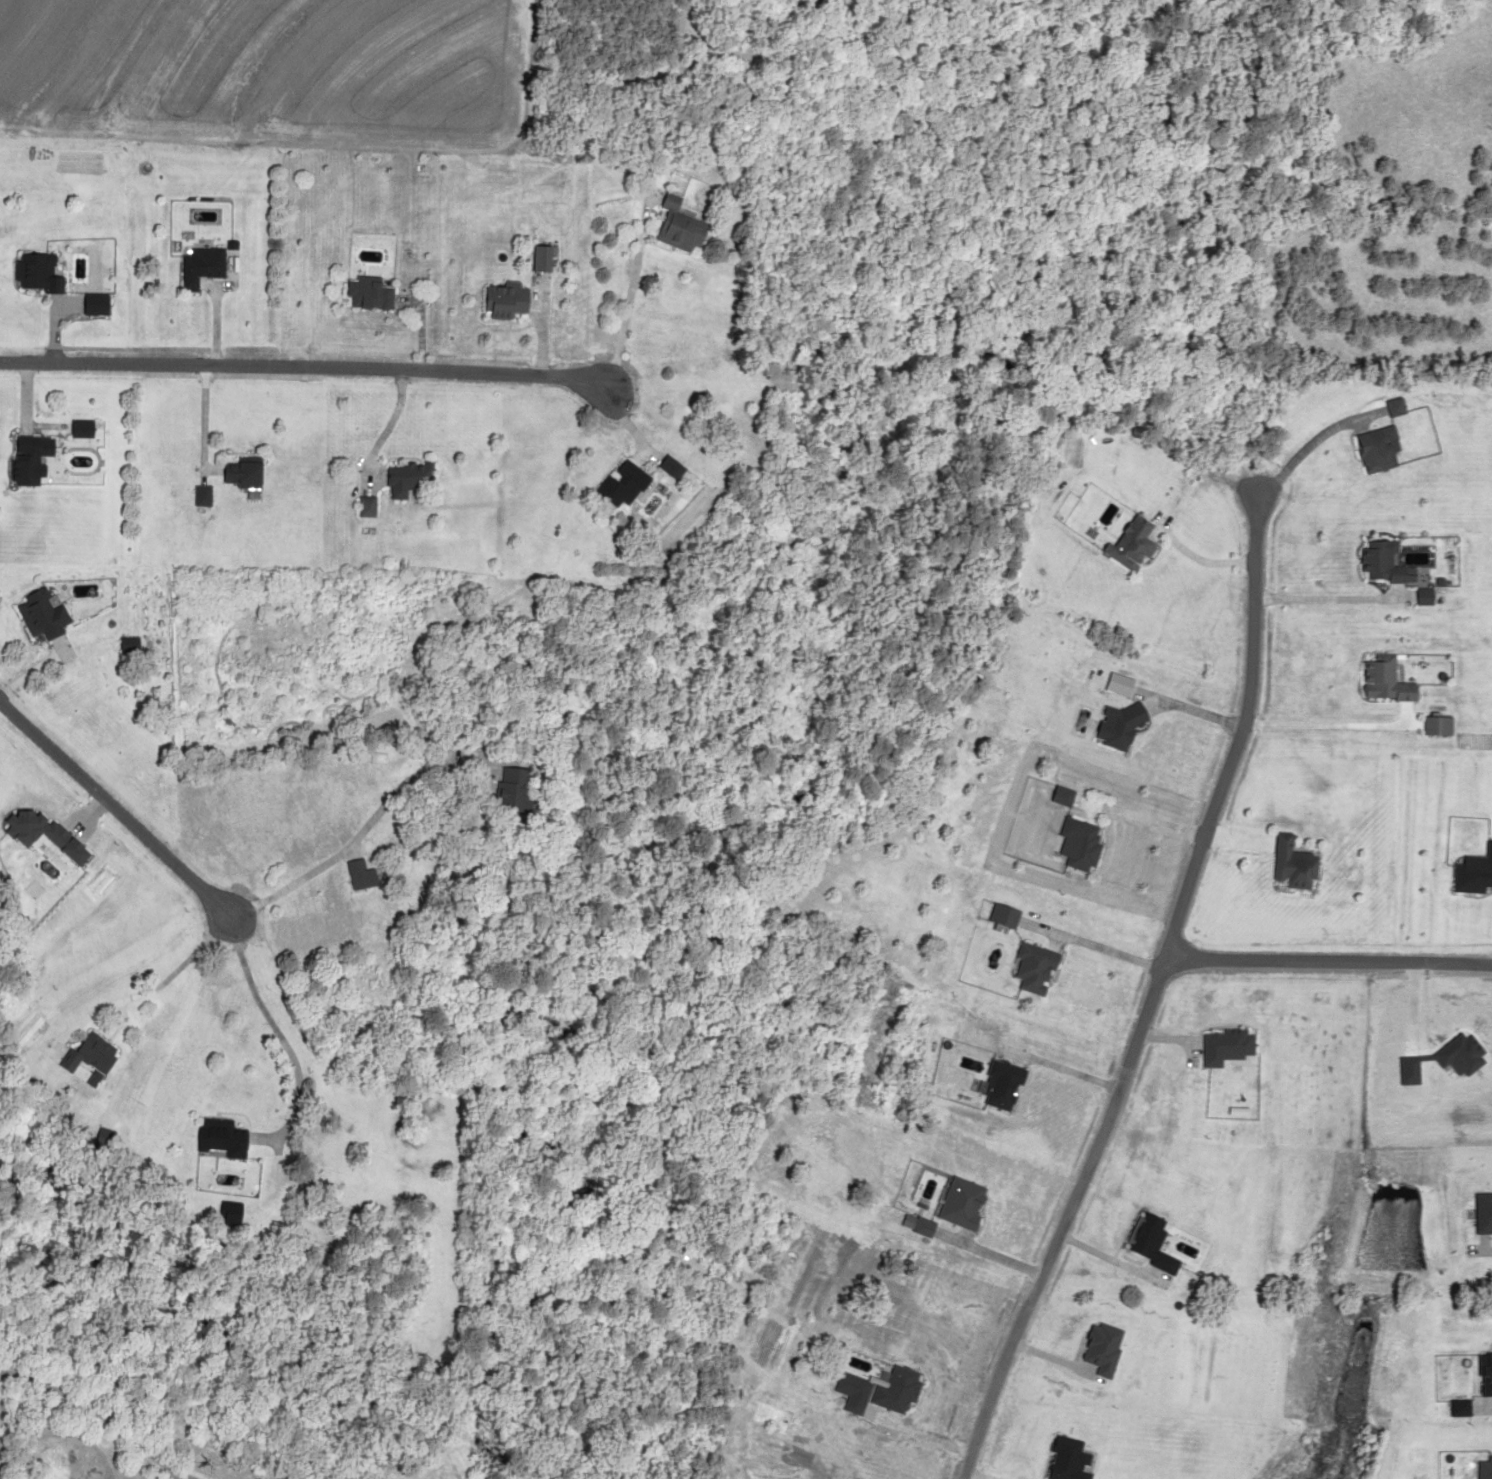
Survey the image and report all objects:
building: (672, 227)
building: (533, 259)
building: (200, 266)
building: (32, 274)
building: (365, 293)
building: (498, 300)
road: (121, 307)
road: (262, 318)
building: (1389, 408)
building: (76, 429)
building: (1371, 450)
building: (23, 459)
building: (236, 474)
building: (402, 480)
building: (612, 484)
building: (198, 496)
building: (361, 507)
building: (1132, 541)
building: (1376, 561)
building: (38, 615)
building: (1380, 680)
building: (1431, 727)
road: (207, 748)
building: (500, 791)
building: (35, 830)
building: (1075, 845)
building: (1289, 864)
building: (357, 875)
building: (998, 915)
building: (1029, 967)
building: (84, 1052)
building: (213, 1136)
building: (222, 1212)

